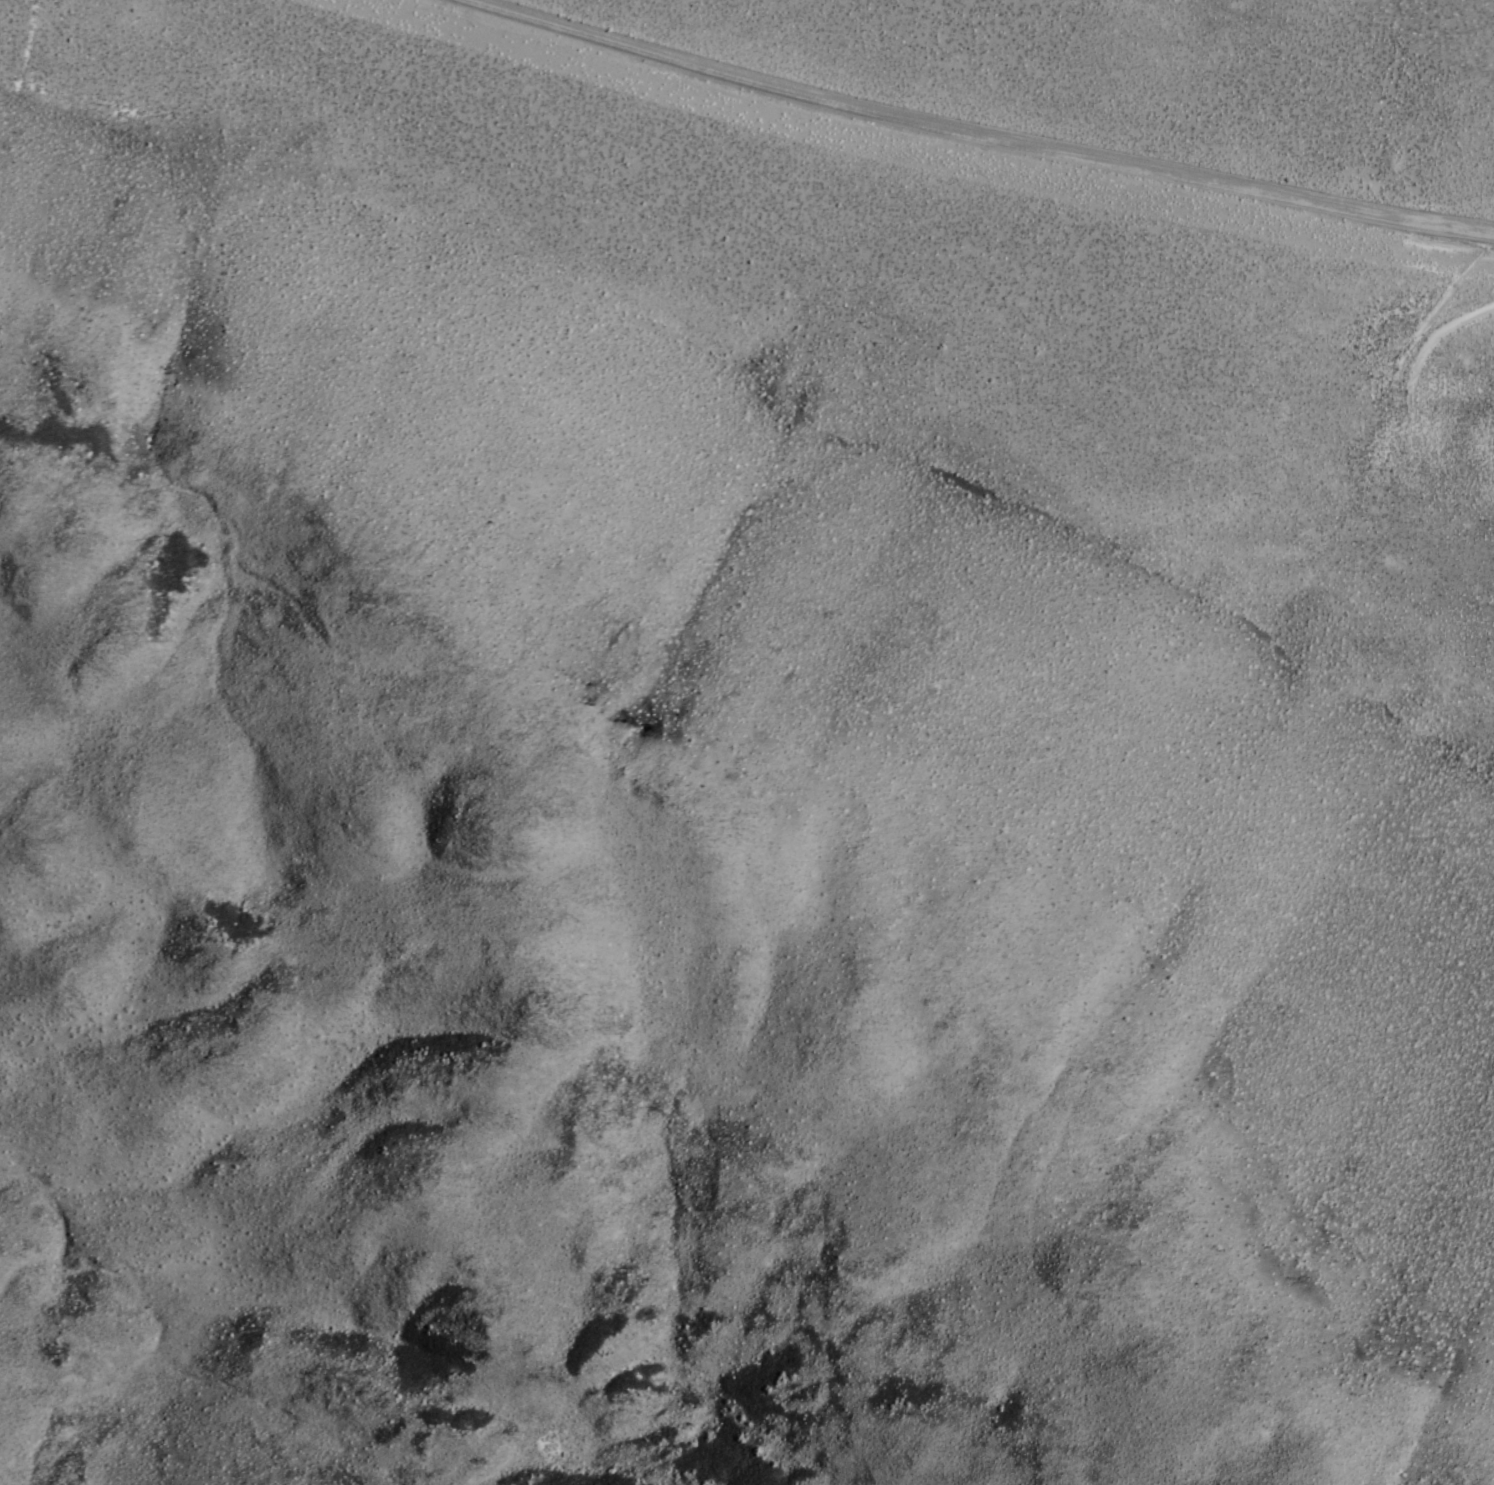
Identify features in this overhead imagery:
road: (972, 132)

